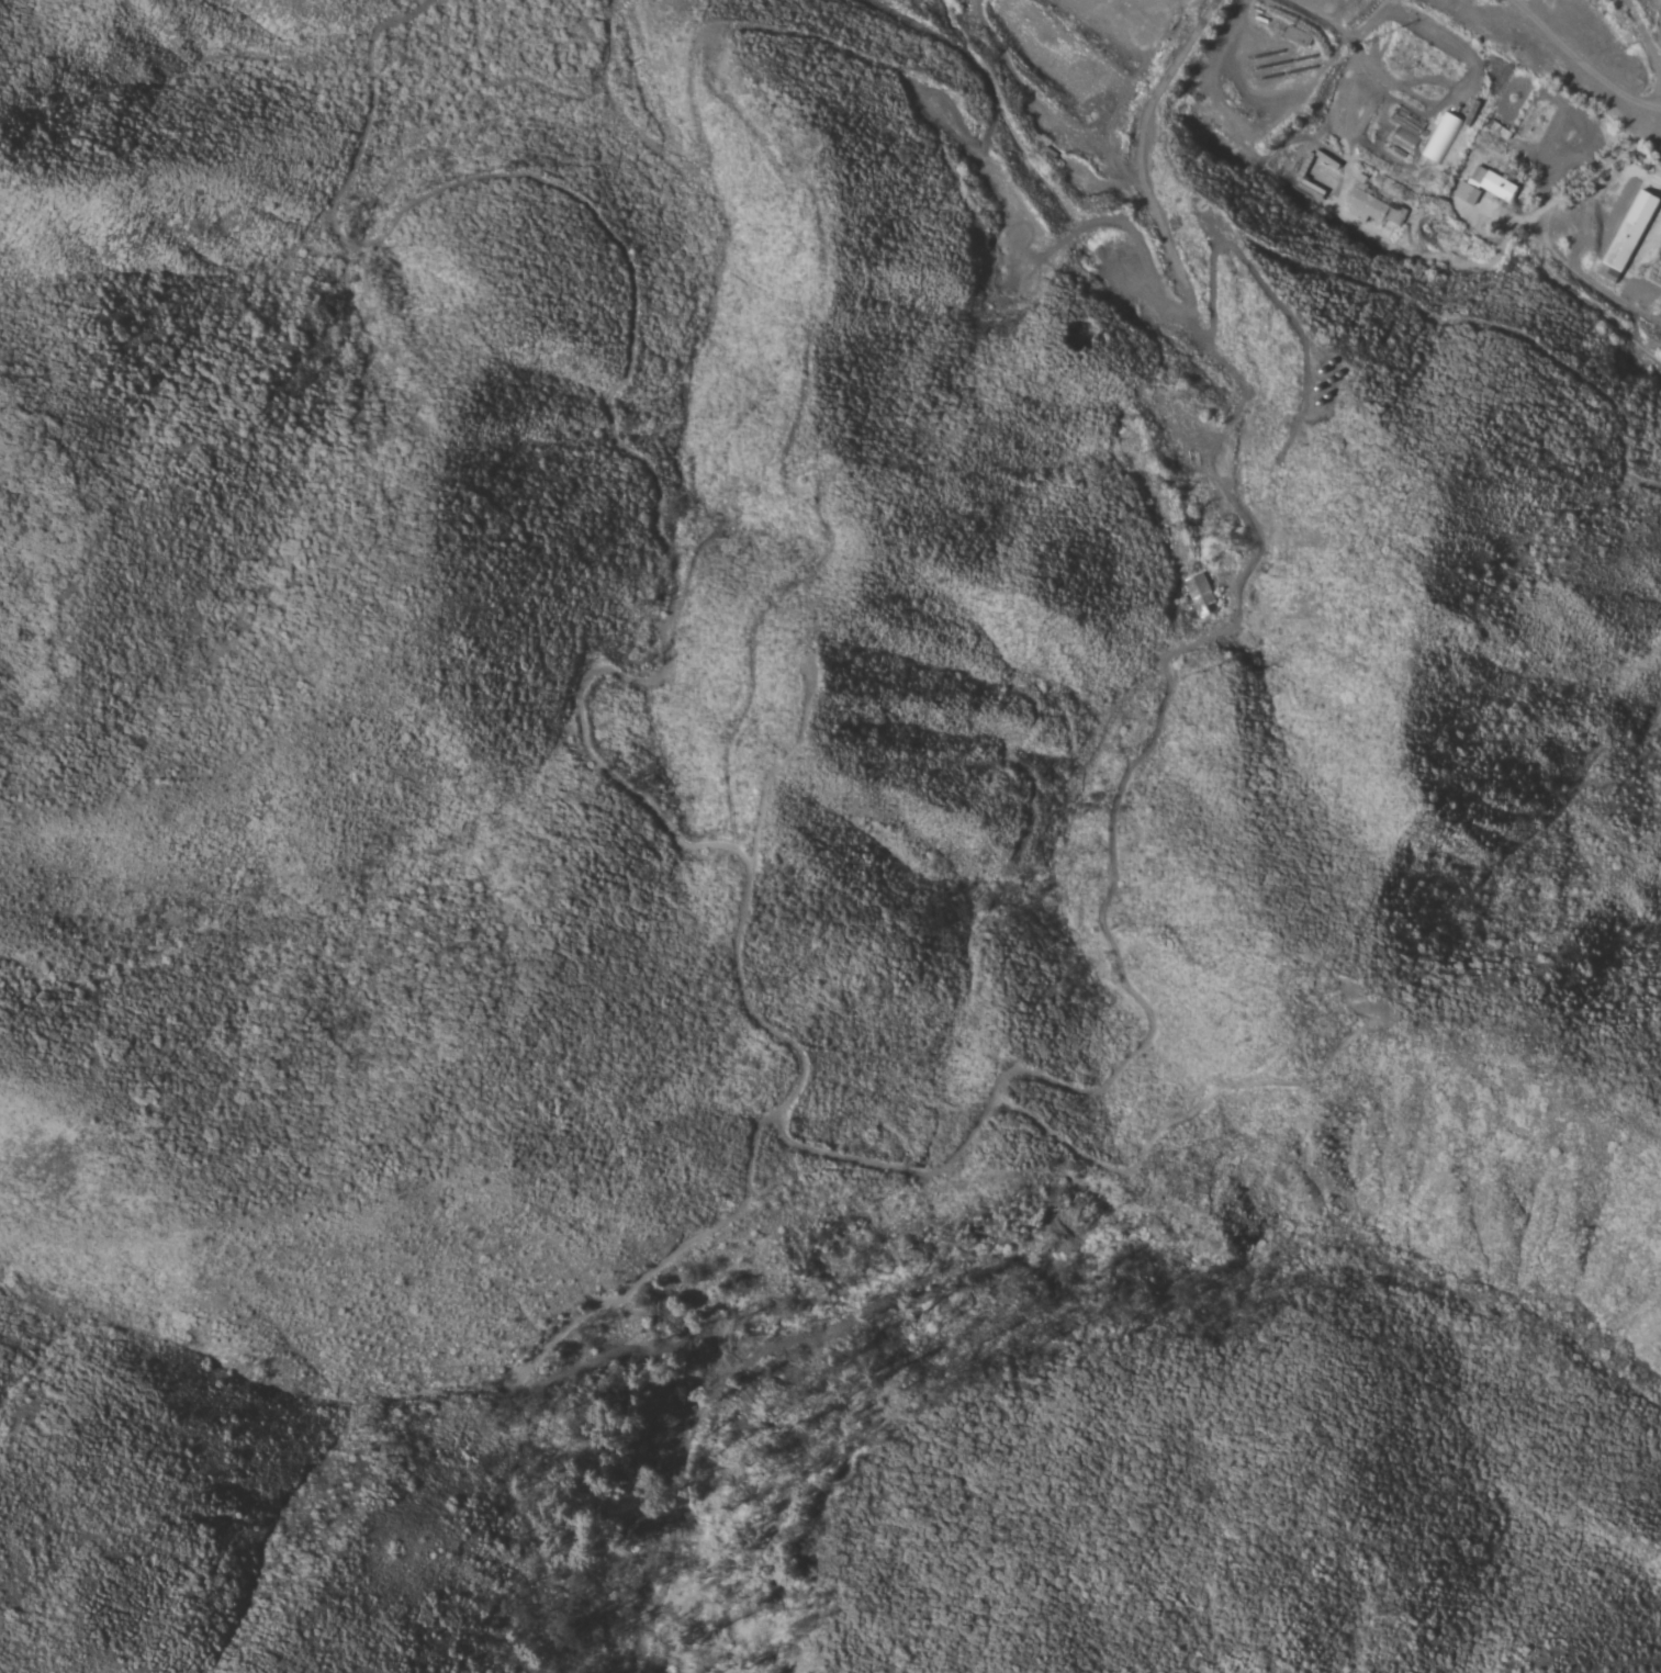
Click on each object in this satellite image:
road: (1632, 4)
road: (1649, 34)
road: (1569, 64)
building: (1441, 137)
building: (1483, 186)
building: (1373, 205)
road: (1353, 213)
road: (1549, 224)
building: (1627, 234)
road: (1589, 303)

